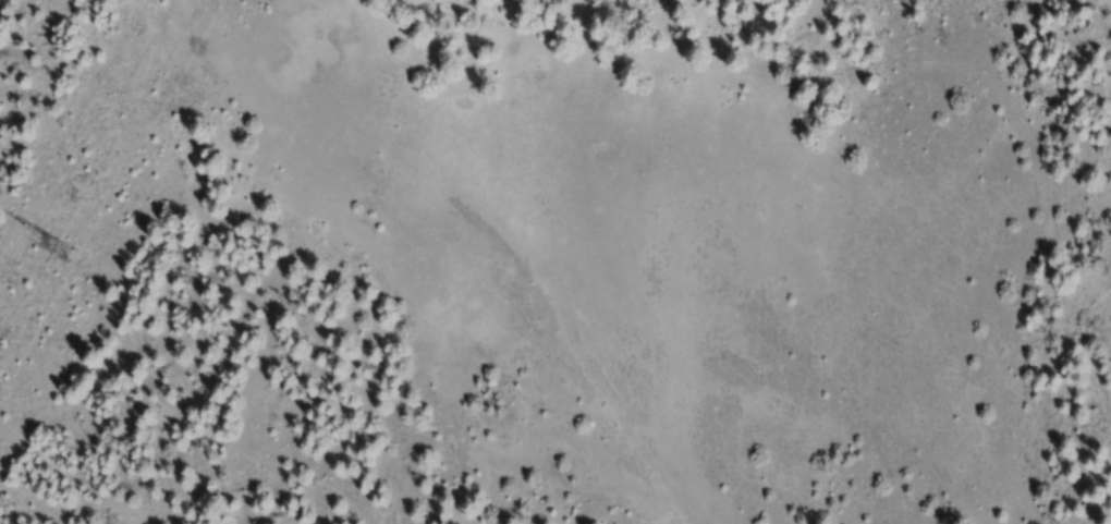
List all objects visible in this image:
power tower: (52, 266)

